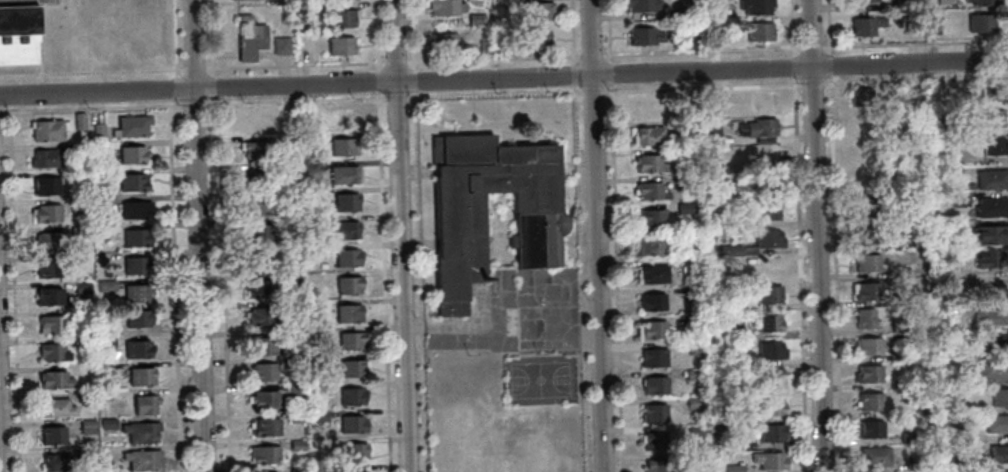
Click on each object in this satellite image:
building: (711, 0)
building: (505, 1)
building: (865, 1)
building: (942, 2)
building: (984, 2)
building: (903, 3)
building: (641, 5)
building: (755, 6)
building: (447, 7)
building: (540, 10)
building: (308, 12)
building: (686, 12)
building: (476, 14)
building: (342, 18)
building: (980, 24)
building: (865, 26)
building: (932, 26)
road: (792, 27)
building: (940, 27)
road: (609, 29)
road: (572, 30)
building: (759, 32)
road: (211, 33)
road: (413, 33)
building: (19, 35)
building: (643, 36)
road: (175, 37)
building: (539, 38)
road: (829, 38)
building: (248, 39)
building: (444, 42)
road: (915, 42)
building: (505, 43)
building: (485, 45)
road: (811, 46)
building: (280, 47)
building: (340, 47)
road: (701, 50)
road: (591, 54)
road: (493, 58)
road: (395, 61)
road: (295, 65)
road: (794, 66)
road: (193, 68)
road: (212, 70)
road: (90, 71)
road: (610, 72)
road: (574, 73)
road: (414, 79)
road: (504, 79)
road: (916, 79)
road: (812, 83)
road: (212, 84)
road: (176, 86)
road: (702, 87)
road: (611, 88)
road: (592, 91)
building: (991, 92)
road: (495, 93)
road: (414, 94)
building: (915, 94)
road: (397, 97)
building: (859, 97)
road: (213, 99)
road: (294, 100)
building: (762, 101)
road: (175, 102)
street lamp: (178, 103)
road: (193, 104)
road: (93, 107)
building: (645, 108)
road: (2, 111)
building: (287, 117)
building: (345, 117)
building: (991, 119)
building: (81, 120)
building: (253, 120)
building: (132, 127)
building: (685, 128)
building: (756, 129)
building: (947, 129)
building: (46, 131)
building: (99, 131)
building: (710, 134)
building: (647, 136)
building: (289, 138)
building: (763, 140)
building: (312, 146)
building: (343, 146)
building: (992, 146)
building: (99, 147)
building: (255, 149)
building: (861, 150)
building: (685, 154)
building: (131, 155)
building: (766, 155)
building: (943, 155)
building: (46, 159)
building: (650, 164)
building: (737, 165)
building: (287, 167)
building: (953, 171)
building: (345, 174)
building: (257, 178)
building: (867, 180)
building: (991, 180)
building: (685, 181)
building: (133, 183)
building: (768, 185)
building: (969, 186)
building: (45, 187)
building: (650, 191)
building: (290, 197)
building: (960, 199)
building: (104, 200)
building: (347, 201)
building: (80, 203)
building: (314, 203)
building: (259, 204)
building: (685, 207)
road: (417, 208)
building: (865, 208)
building: (990, 208)
building: (135, 211)
building: (769, 211)
building: (47, 214)
building: (651, 219)
building: (542, 223)
building: (313, 225)
building: (954, 227)
building: (110, 228)
building: (345, 229)
building: (80, 230)
building: (260, 233)
road: (383, 235)
road: (400, 235)
road: (596, 235)
road: (815, 235)
building: (866, 235)
building: (990, 235)
road: (197, 236)
building: (135, 238)
building: (689, 239)
building: (768, 240)
building: (50, 242)
building: (919, 243)
building: (649, 246)
building: (730, 251)
building: (316, 252)
building: (350, 256)
building: (986, 258)
building: (293, 259)
building: (258, 261)
building: (866, 263)
building: (135, 267)
building: (691, 267)
building: (769, 268)
building: (42, 270)
building: (897, 271)
road: (835, 274)
building: (651, 275)
road: (799, 275)
building: (294, 278)
road: (581, 278)
road: (616, 281)
building: (107, 283)
building: (351, 284)
road: (224, 287)
building: (83, 288)
road: (174, 288)
building: (259, 288)
road: (14, 291)
building: (868, 291)
building: (693, 293)
building: (135, 294)
building: (770, 295)
building: (47, 298)
building: (899, 298)
building: (652, 302)
building: (293, 312)
building: (350, 313)
building: (262, 315)
building: (865, 318)
building: (990, 318)
building: (137, 320)
building: (692, 322)
building: (769, 323)
building: (51, 325)
road: (450, 325)
building: (899, 325)
building: (107, 326)
road: (421, 326)
building: (651, 330)
building: (733, 330)
building: (293, 335)
building: (352, 340)
building: (82, 341)
building: (107, 341)
building: (996, 343)
building: (264, 345)
building: (869, 346)
building: (695, 348)
building: (137, 350)
building: (770, 351)
building: (51, 352)
building: (970, 352)
building: (901, 355)
building: (653, 358)
building: (294, 359)
building: (735, 361)
building: (354, 368)
building: (993, 369)
building: (263, 370)
building: (869, 373)
building: (692, 375)
building: (140, 377)
building: (771, 378)
park: (541, 379)
building: (55, 381)
building: (902, 383)
building: (654, 386)
building: (296, 387)
building: (319, 390)
building: (354, 395)
building: (88, 396)
building: (109, 396)
building: (264, 398)
building: (1000, 398)
building: (870, 401)
road: (424, 402)
building: (693, 403)
building: (145, 406)
building: (954, 406)
building: (772, 407)
building: (57, 409)
building: (322, 414)
building: (653, 414)
building: (297, 415)
building: (737, 416)
building: (109, 422)
building: (354, 423)
building: (996, 424)
building: (89, 425)
building: (266, 426)
building: (871, 429)
building: (695, 431)
building: (139, 433)
building: (773, 433)
building: (954, 435)
building: (52, 437)
building: (908, 437)
building: (655, 441)
building: (299, 444)
building: (735, 444)
building: (356, 451)
building: (88, 452)
building: (265, 454)
building: (999, 454)
road: (0, 457)
building: (874, 457)
building: (141, 460)
building: (769, 461)
building: (56, 463)
building: (660, 466)
building: (299, 469)
building: (734, 469)
building: (356, 471)
building: (1003, 471)

